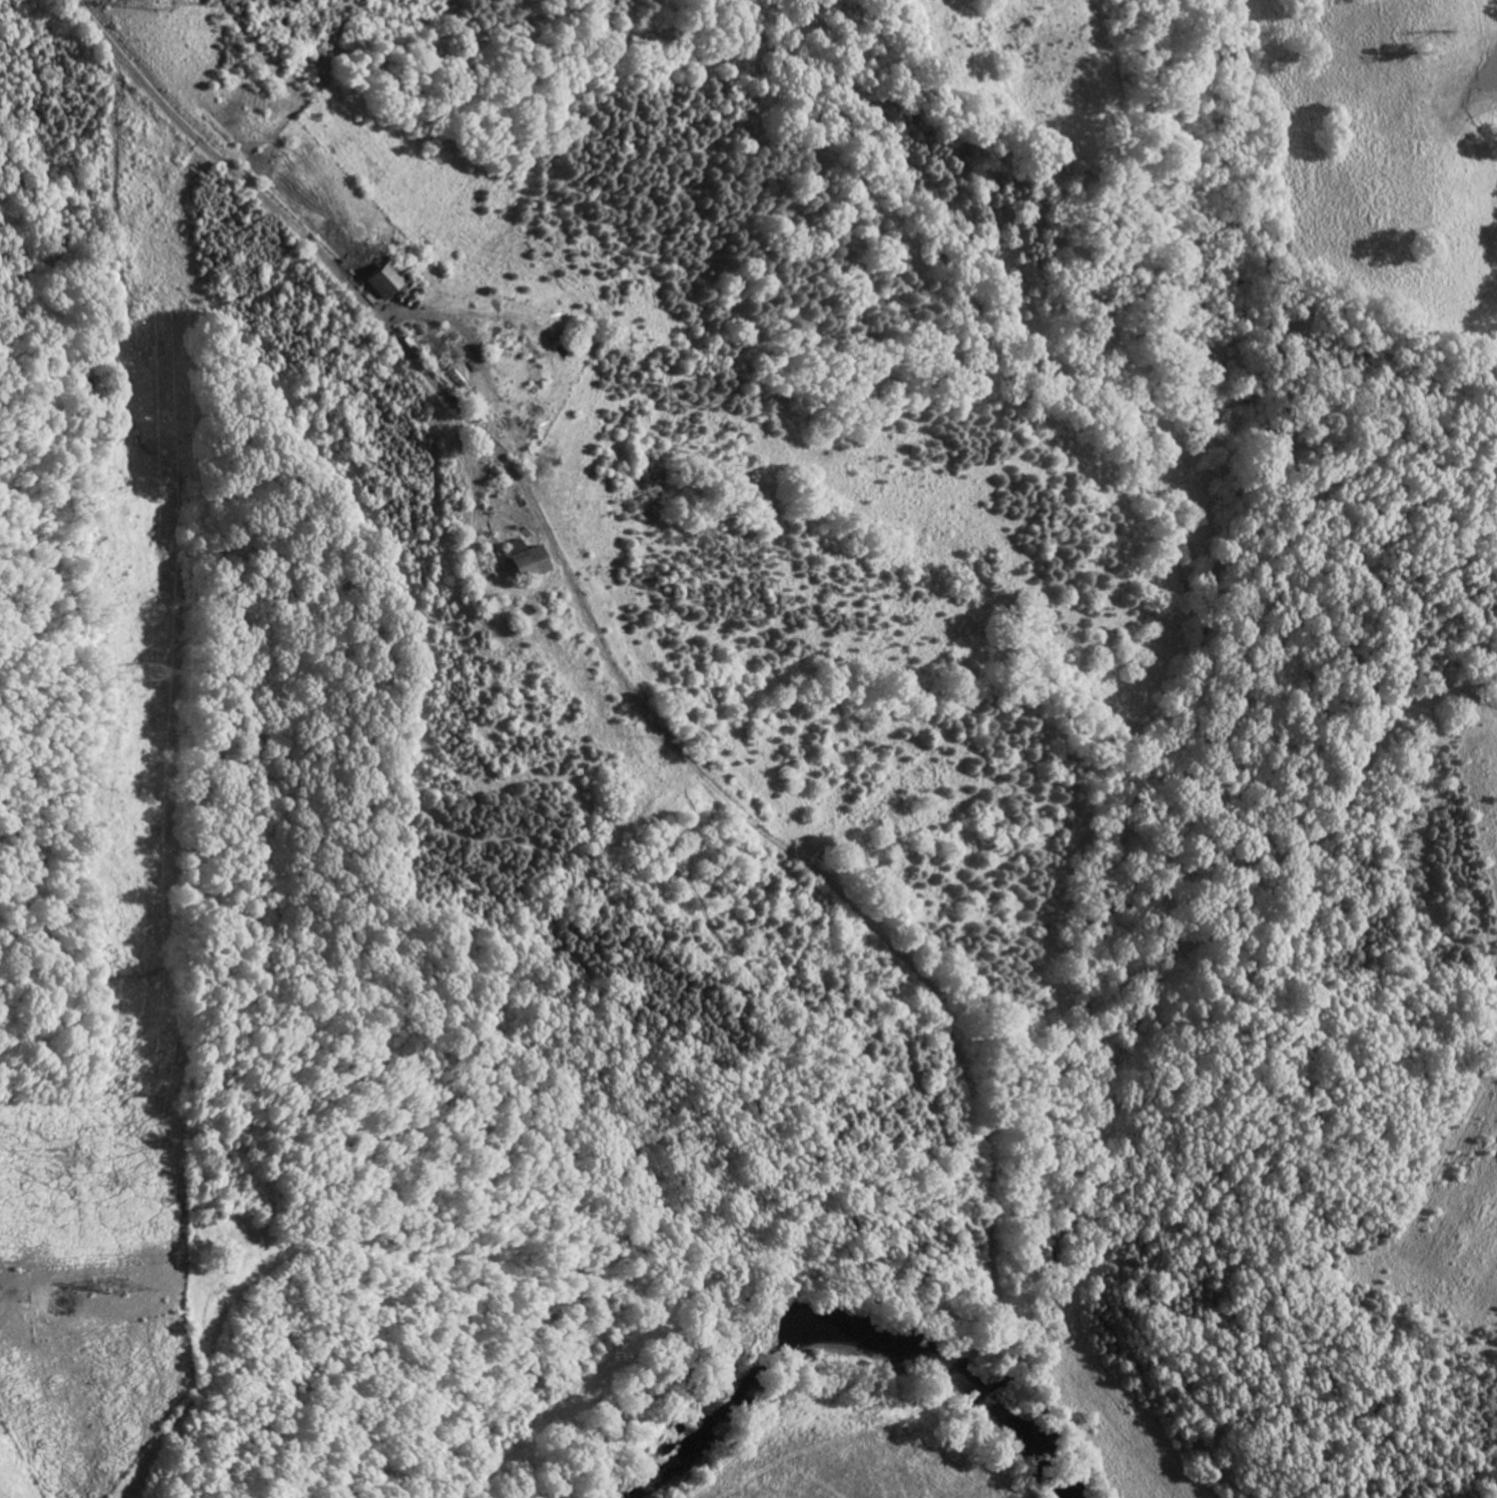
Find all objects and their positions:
power tower: (167, 2)
road: (240, 178)
building: (391, 280)
building: (529, 560)
power tower: (143, 671)
power tower: (121, 1283)
river: (848, 1335)

